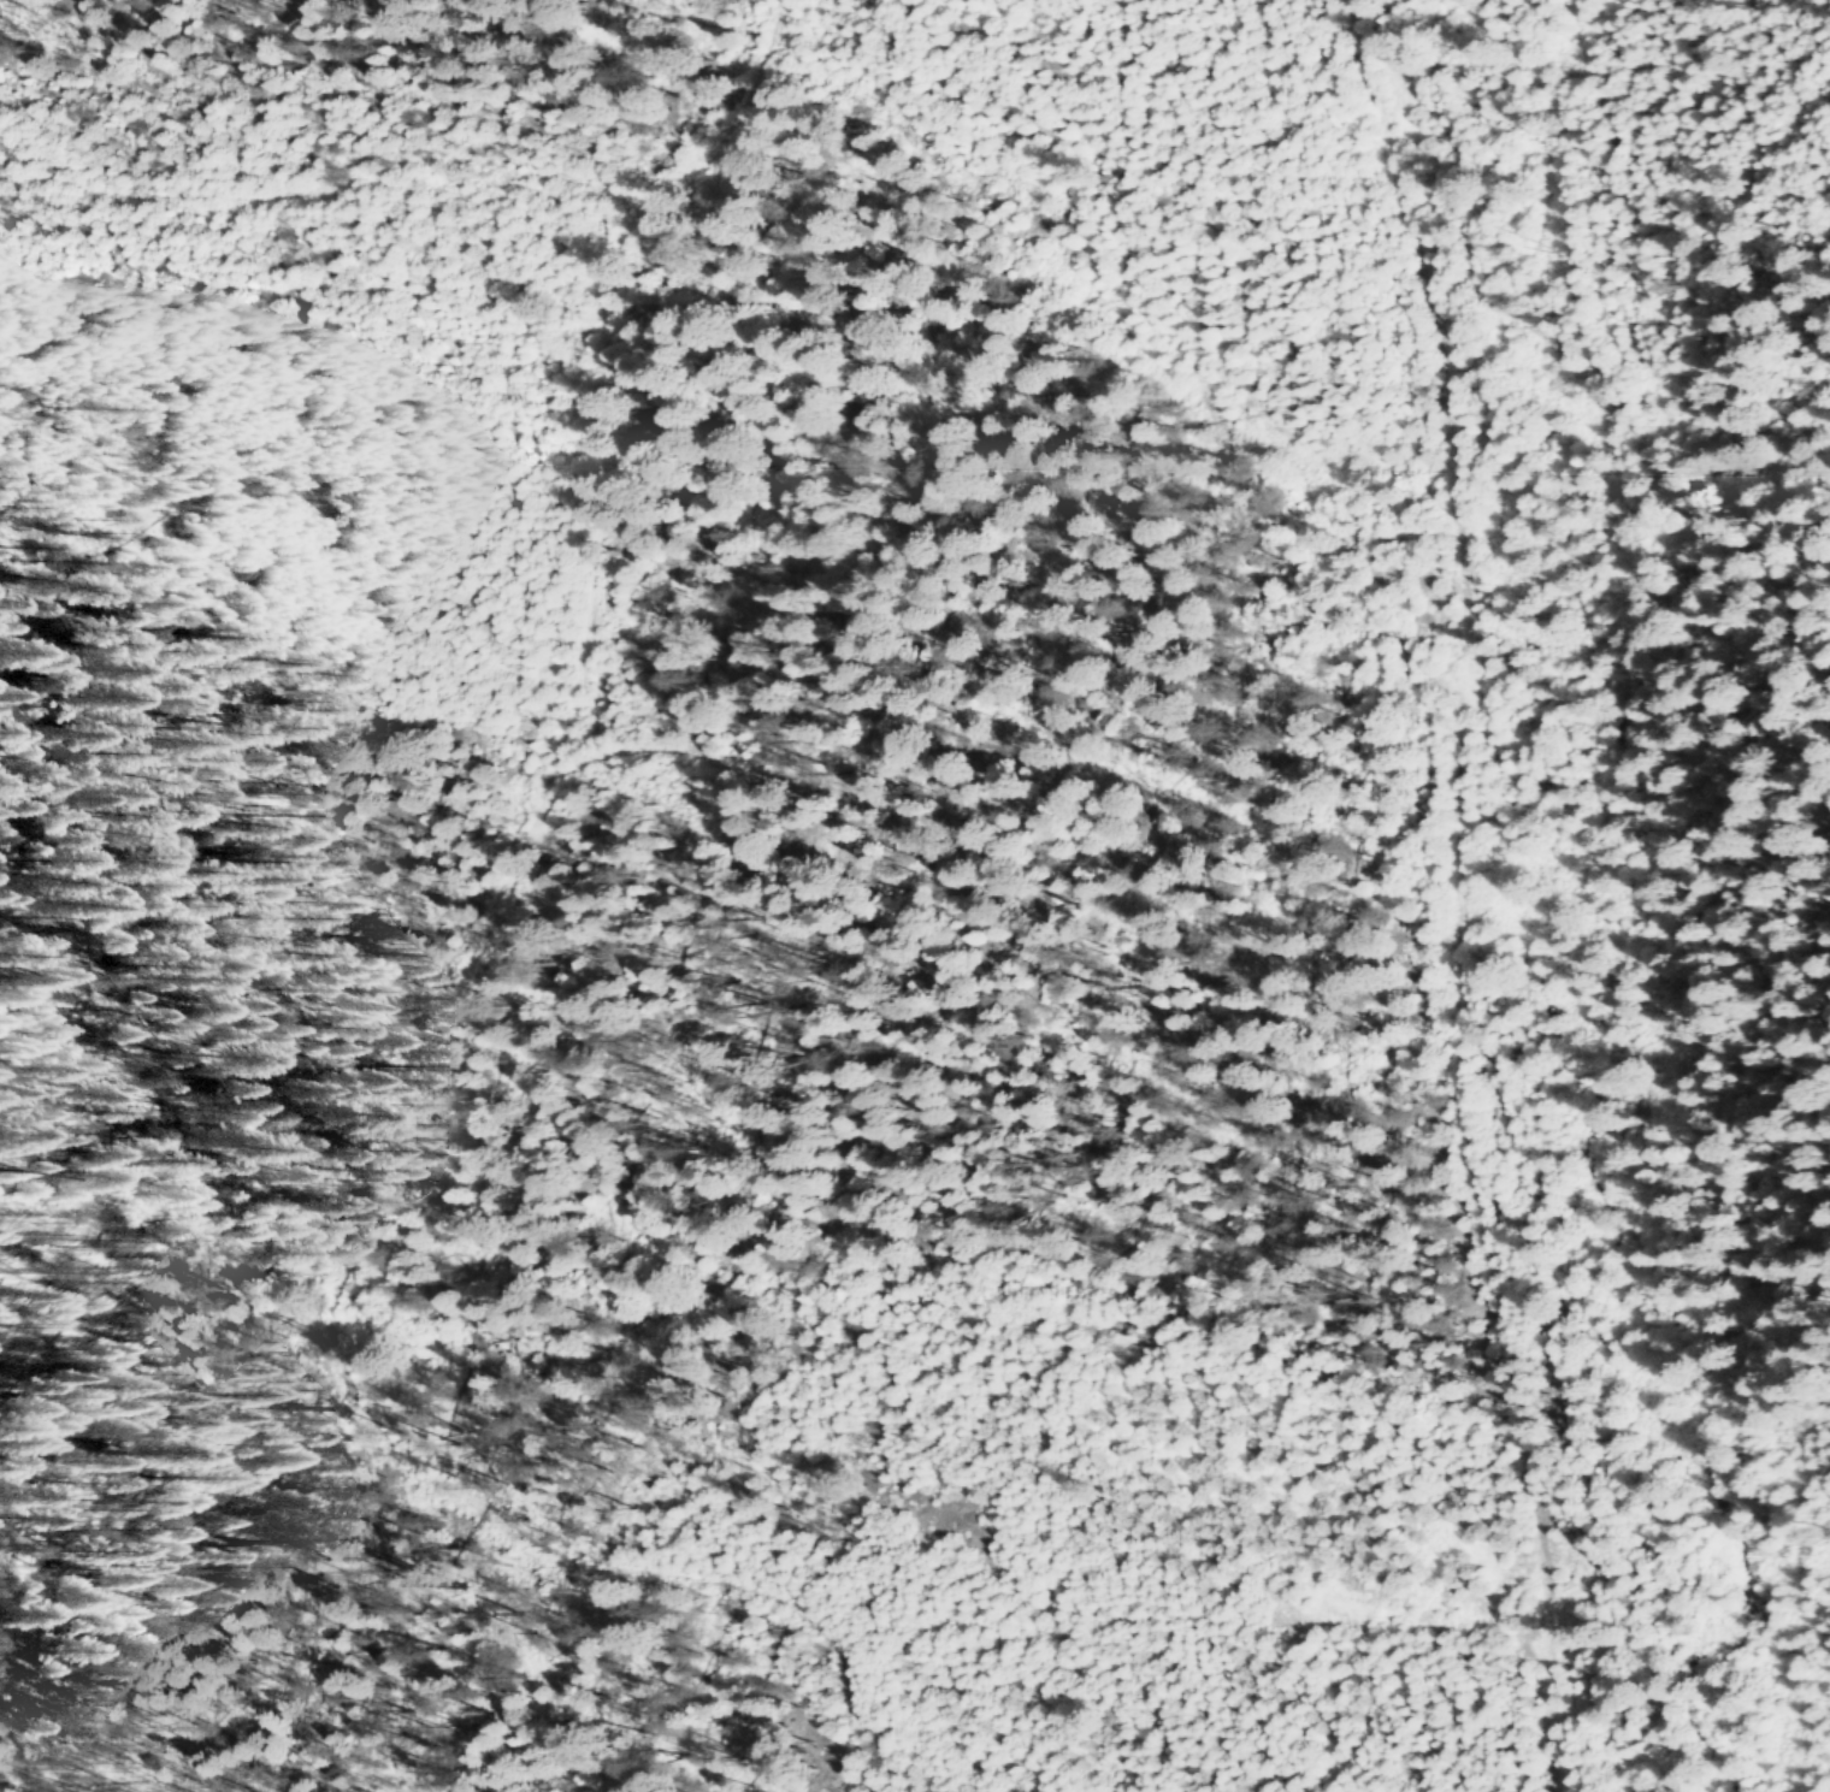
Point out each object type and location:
road: (1442, 344)
road: (1488, 1248)

